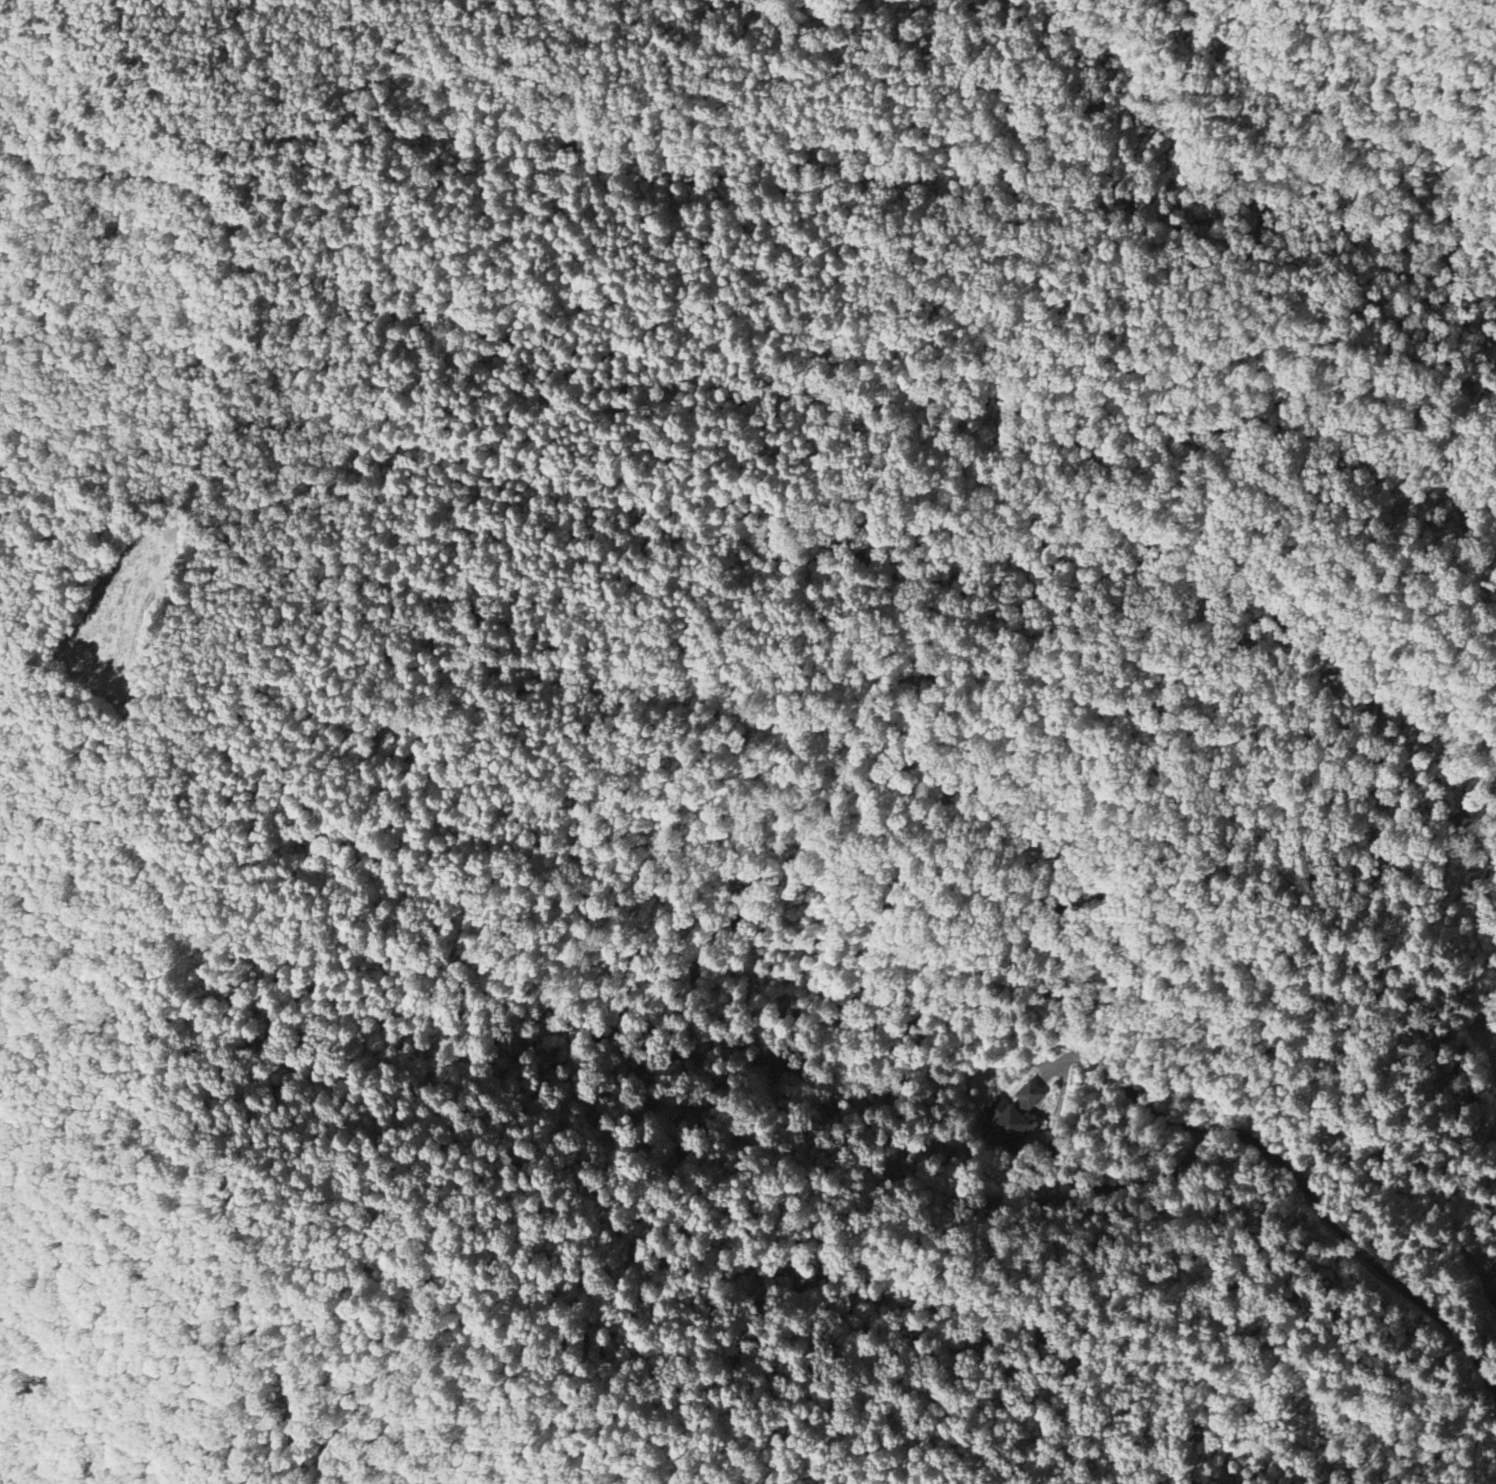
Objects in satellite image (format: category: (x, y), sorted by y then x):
building: (1014, 1121)
road: (1299, 1180)

